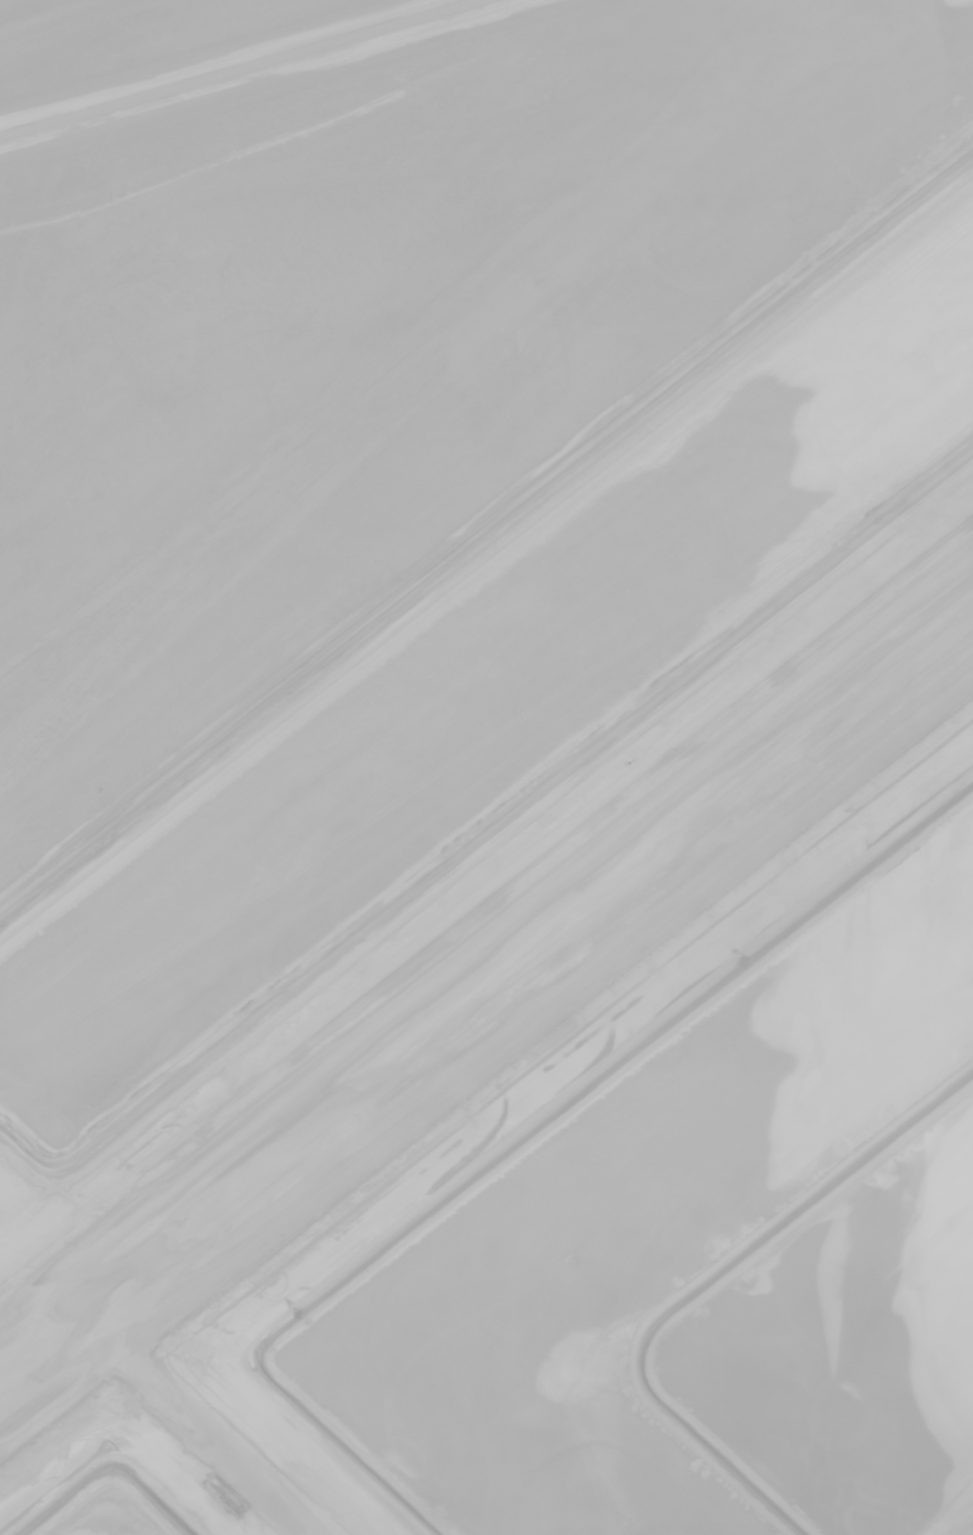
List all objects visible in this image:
airport: (486, 767)
airport runway: (486, 999)
airport taxiway: (198, 1426)

